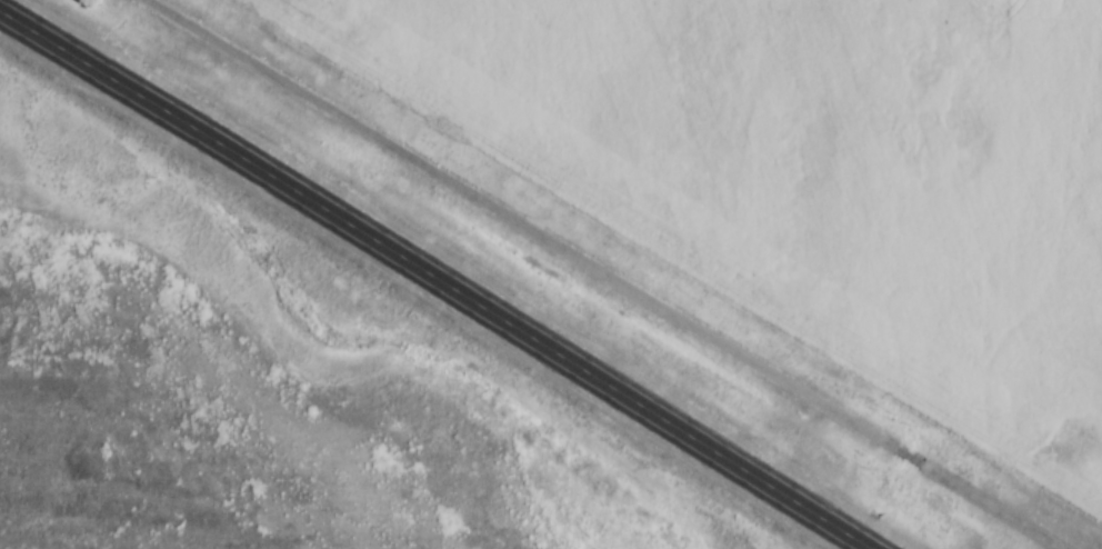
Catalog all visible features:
road: (440, 274)
road: (611, 274)

